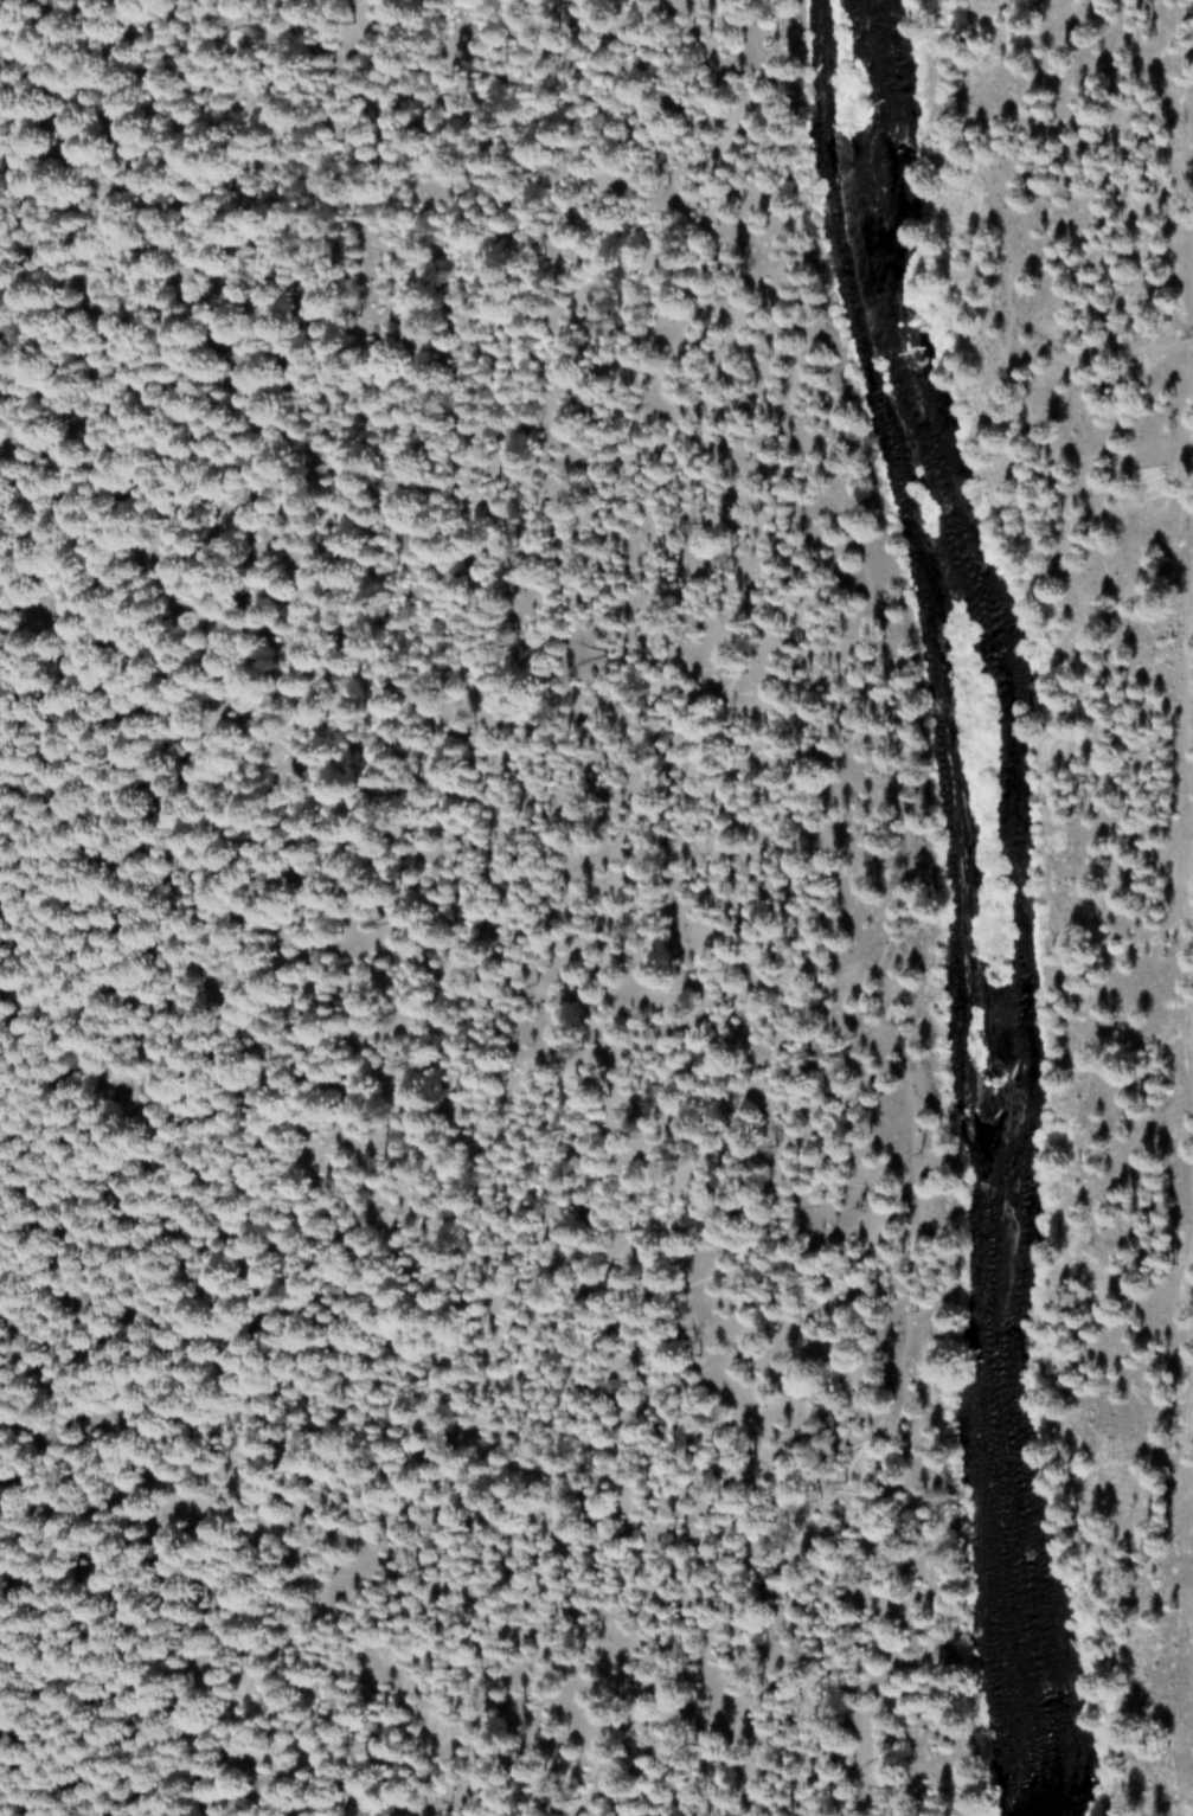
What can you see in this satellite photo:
road: (899, 892)
river: (1001, 897)
road: (1059, 903)

